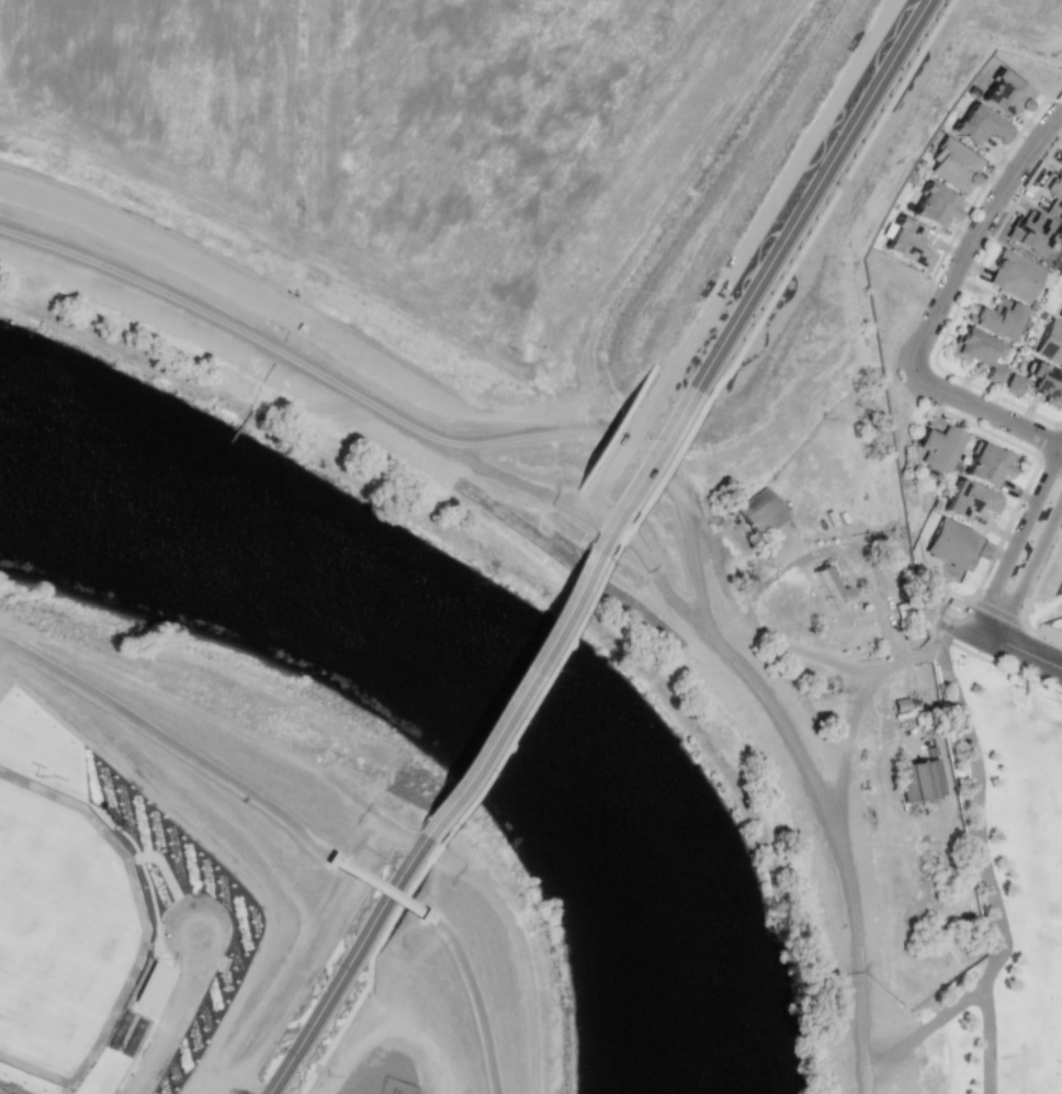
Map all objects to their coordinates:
building: (1004, 94)
building: (978, 125)
building: (1059, 159)
building: (953, 165)
building: (1052, 196)
building: (934, 206)
road: (976, 233)
building: (1029, 233)
building: (906, 244)
road: (778, 266)
building: (1013, 275)
building: (1060, 314)
building: (996, 318)
building: (1050, 342)
building: (978, 351)
crop: (555, 380)
building: (1013, 384)
building: (1046, 384)
road: (982, 413)
building: (935, 443)
road: (482, 446)
building: (986, 464)
building: (969, 499)
building: (759, 511)
building: (951, 543)
road: (1023, 553)
building: (829, 588)
road: (1005, 643)
road: (518, 684)
road: (865, 687)
river: (432, 690)
road: (165, 741)
building: (918, 779)
park: (1023, 867)
road: (985, 884)
road: (376, 888)
park: (60, 933)
road: (862, 958)
road: (521, 965)
road: (354, 968)
building: (151, 985)
road: (473, 1002)
road: (985, 1040)

